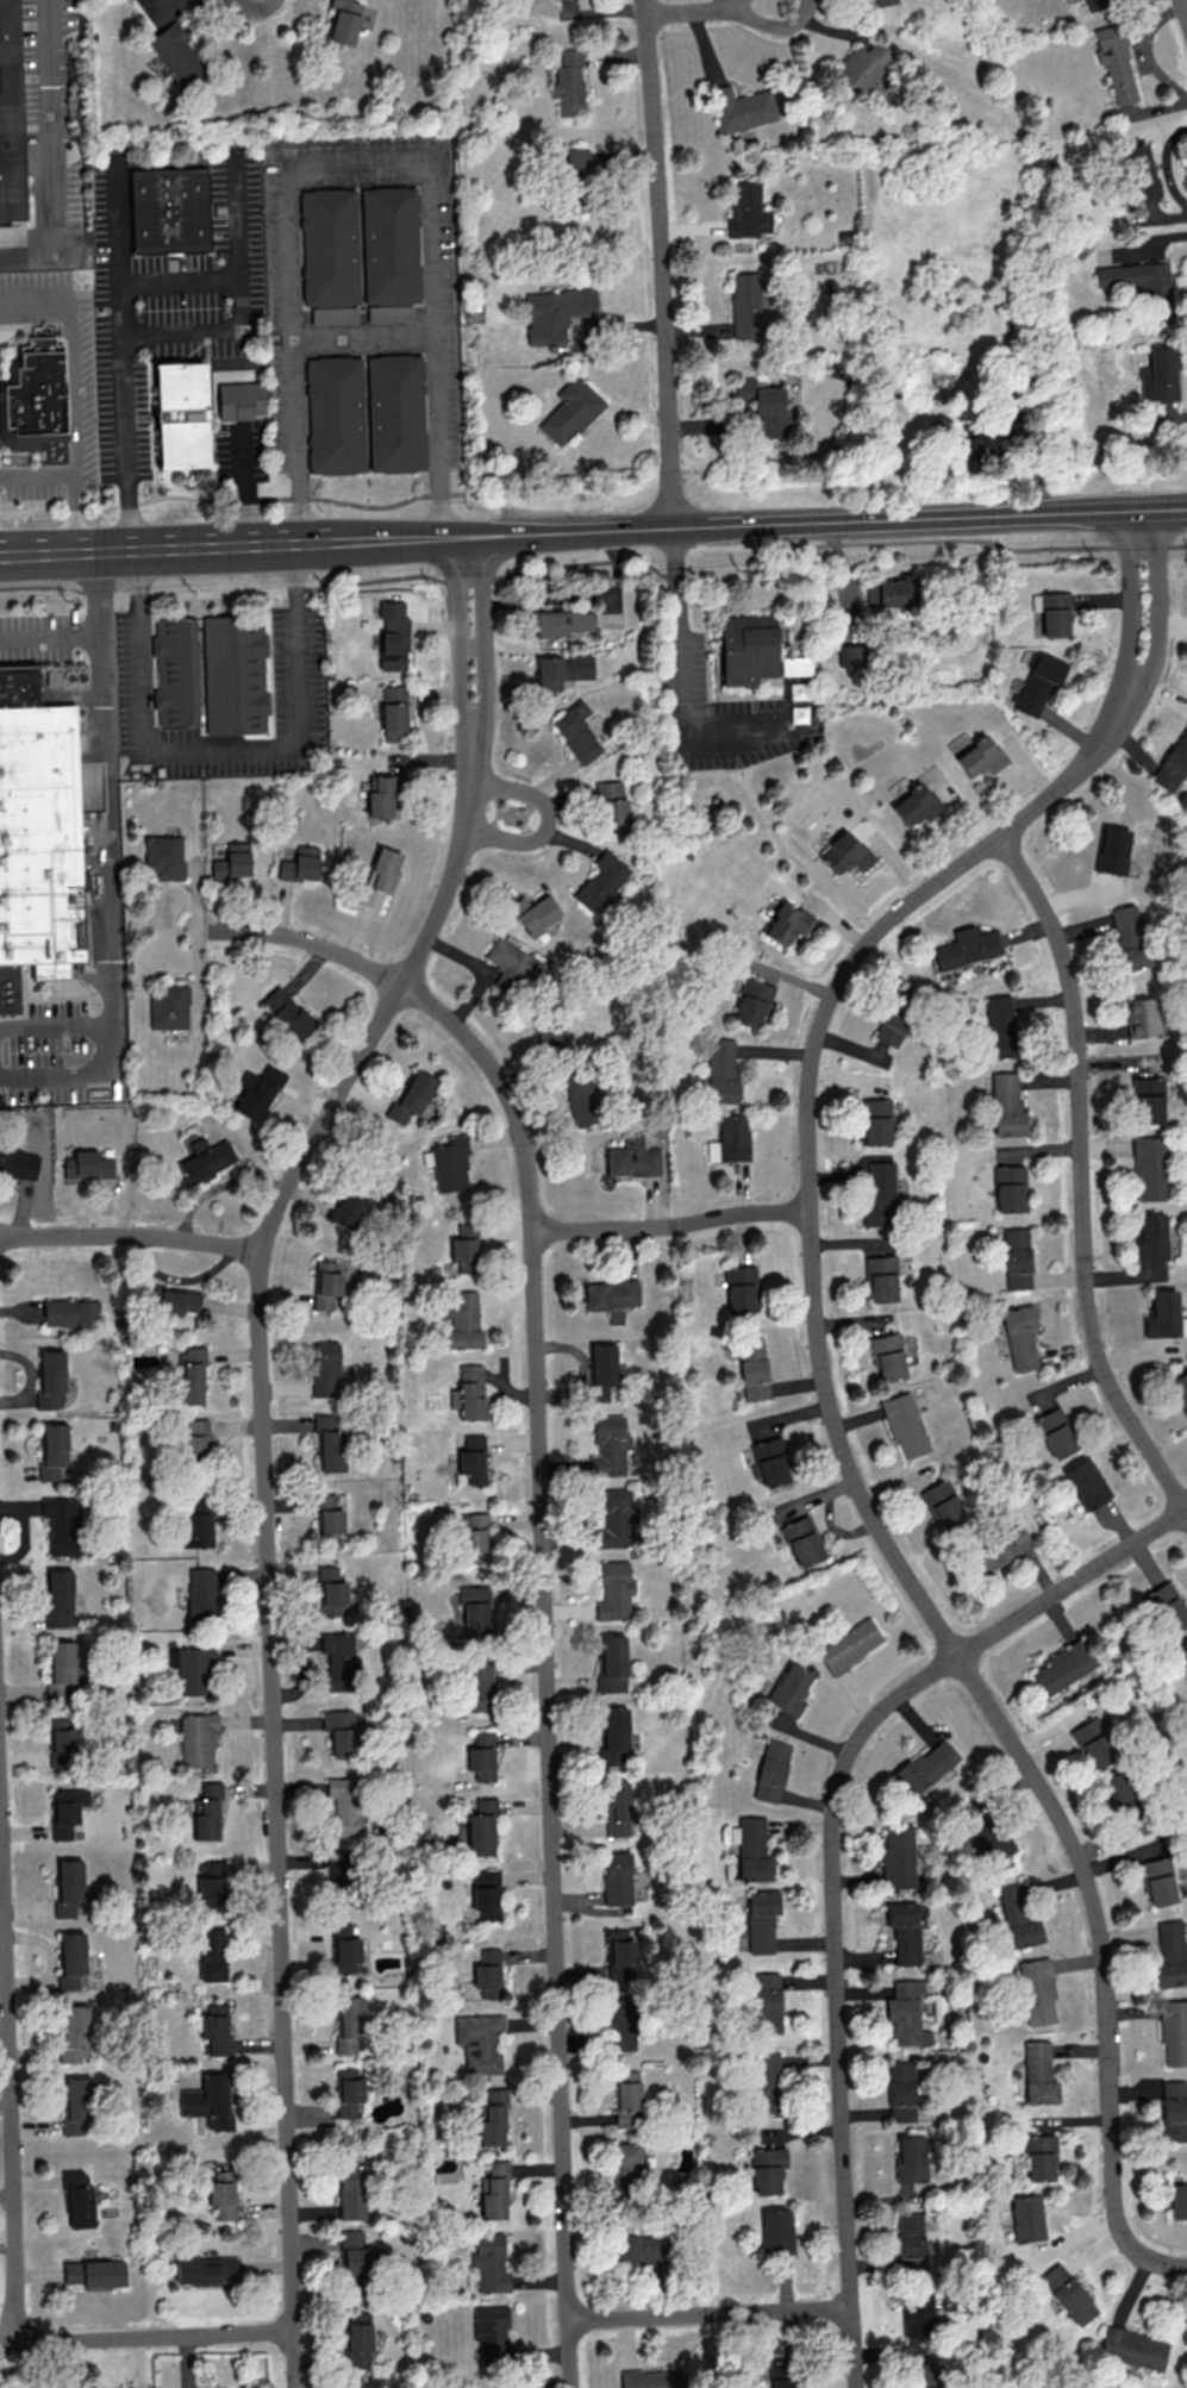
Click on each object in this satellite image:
building: (883, 1)
building: (1097, 4)
road: (711, 8)
road: (1183, 8)
building: (344, 20)
building: (176, 54)
building: (1116, 62)
building: (862, 65)
building: (568, 82)
building: (742, 107)
building: (10, 114)
road: (52, 154)
road: (361, 156)
building: (577, 162)
building: (1142, 170)
building: (748, 208)
building: (179, 215)
building: (401, 251)
building: (339, 252)
road: (660, 263)
road: (236, 277)
building: (1142, 285)
building: (745, 305)
building: (389, 312)
building: (557, 313)
building: (335, 314)
road: (199, 330)
road: (367, 333)
road: (124, 362)
building: (1160, 375)
road: (77, 387)
building: (35, 389)
building: (766, 406)
building: (249, 407)
building: (570, 411)
building: (187, 420)
building: (406, 420)
building: (344, 421)
building: (973, 449)
road: (249, 488)
road: (231, 501)
road: (75, 512)
road: (13, 519)
road: (833, 521)
road: (469, 536)
road: (451, 537)
road: (894, 540)
road: (221, 545)
road: (1176, 545)
road: (1139, 546)
road: (580, 562)
road: (674, 573)
road: (468, 576)
road: (221, 592)
building: (892, 592)
road: (1127, 602)
road: (1154, 607)
building: (1052, 612)
road: (460, 621)
building: (563, 623)
building: (393, 634)
road: (48, 638)
road: (482, 639)
road: (471, 646)
building: (744, 648)
building: (850, 655)
building: (561, 670)
road: (682, 674)
building: (233, 675)
building: (1039, 682)
building: (393, 712)
road: (469, 724)
building: (577, 732)
road: (220, 750)
building: (980, 756)
building: (1173, 763)
building: (383, 795)
building: (916, 805)
building: (611, 806)
road: (101, 811)
road: (546, 820)
building: (38, 831)
building: (1112, 850)
building: (844, 852)
building: (163, 856)
building: (232, 861)
building: (300, 864)
building: (380, 876)
building: (601, 882)
building: (533, 912)
building: (786, 923)
building: (1129, 938)
building: (967, 946)
building: (512, 967)
building: (752, 1002)
building: (168, 1006)
building: (287, 1012)
building: (1141, 1017)
road: (52, 1023)
building: (1000, 1026)
building: (551, 1036)
building: (721, 1071)
road: (55, 1075)
building: (256, 1092)
building: (412, 1095)
building: (580, 1098)
building: (1148, 1099)
building: (1007, 1105)
building: (875, 1121)
building: (730, 1139)
building: (632, 1157)
building: (206, 1158)
building: (18, 1163)
building: (448, 1163)
building: (87, 1164)
building: (1148, 1168)
road: (1081, 1177)
building: (1010, 1188)
building: (879, 1193)
building: (346, 1208)
road: (673, 1227)
building: (1151, 1236)
road: (131, 1237)
building: (464, 1246)
building: (1017, 1257)
building: (881, 1277)
building: (325, 1283)
building: (739, 1288)
building: (611, 1296)
building: (173, 1300)
building: (70, 1312)
building: (1164, 1314)
building: (461, 1318)
building: (1020, 1336)
building: (888, 1356)
building: (325, 1368)
building: (752, 1368)
building: (601, 1370)
building: (189, 1375)
building: (51, 1380)
building: (1180, 1388)
building: (470, 1390)
building: (905, 1425)
building: (1055, 1432)
building: (196, 1438)
building: (329, 1442)
building: (610, 1444)
building: (52, 1450)
building: (470, 1461)
building: (770, 1462)
road: (851, 1470)
building: (1086, 1482)
building: (943, 1505)
building: (327, 1518)
building: (613, 1519)
building: (61, 1523)
building: (196, 1530)
building: (474, 1538)
road: (267, 1540)
building: (802, 1540)
building: (1000, 1548)
road: (541, 1561)
building: (614, 1590)
building: (330, 1592)
building: (202, 1593)
building: (58, 1599)
building: (1166, 1606)
building: (475, 1609)
building: (849, 1645)
building: (1186, 1658)
building: (339, 1659)
building: (612, 1663)
building: (1062, 1667)
building: (192, 1669)
building: (65, 1671)
building: (476, 1683)
building: (791, 1688)
building: (341, 1731)
building: (613, 1734)
building: (198, 1739)
building: (1095, 1742)
building: (62, 1746)
building: (482, 1756)
building: (926, 1765)
building: (771, 1770)
building: (1120, 1788)
building: (344, 1805)
building: (617, 1807)
building: (65, 1811)
building: (206, 1812)
building: (481, 1827)
building: (985, 1830)
building: (751, 1848)
building: (898, 1858)
road: (833, 1859)
building: (341, 1867)
building: (617, 1877)
building: (1157, 1881)
building: (212, 1886)
building: (68, 1887)
building: (486, 1893)
building: (1019, 1917)
building: (762, 1919)
building: (339, 1930)
building: (905, 1931)
building: (211, 1952)
building: (345, 1953)
building: (620, 1953)
building: (1170, 1955)
building: (71, 1961)
building: (488, 1973)
building: (1037, 1990)
building: (767, 2002)
building: (906, 2012)
building: (348, 2023)
building: (620, 2024)
building: (215, 2027)
building: (1173, 2031)
building: (74, 2033)
building: (480, 2042)
building: (1038, 2073)
building: (766, 2083)
building: (348, 2090)
building: (900, 2090)
building: (627, 2098)
building: (207, 2101)
building: (75, 2106)
building: (1174, 2109)
building: (492, 2118)
building: (911, 2157)
building: (1039, 2157)
building: (625, 2165)
building: (767, 2169)
building: (351, 2190)
building: (493, 2190)
building: (223, 2194)
building: (77, 2196)
building: (1177, 2200)
road: (17, 2209)
building: (1026, 2217)
building: (776, 2231)
building: (910, 2234)
building: (639, 2249)
building: (355, 2252)
building: (489, 2263)
building: (205, 2269)
building: (94, 2273)
building: (1068, 2293)
building: (918, 2312)
road: (711, 2315)
building: (491, 2330)
building: (1183, 2331)
building: (357, 2339)
building: (1132, 2348)
building: (782, 2373)
building: (925, 2375)
building: (654, 2378)

